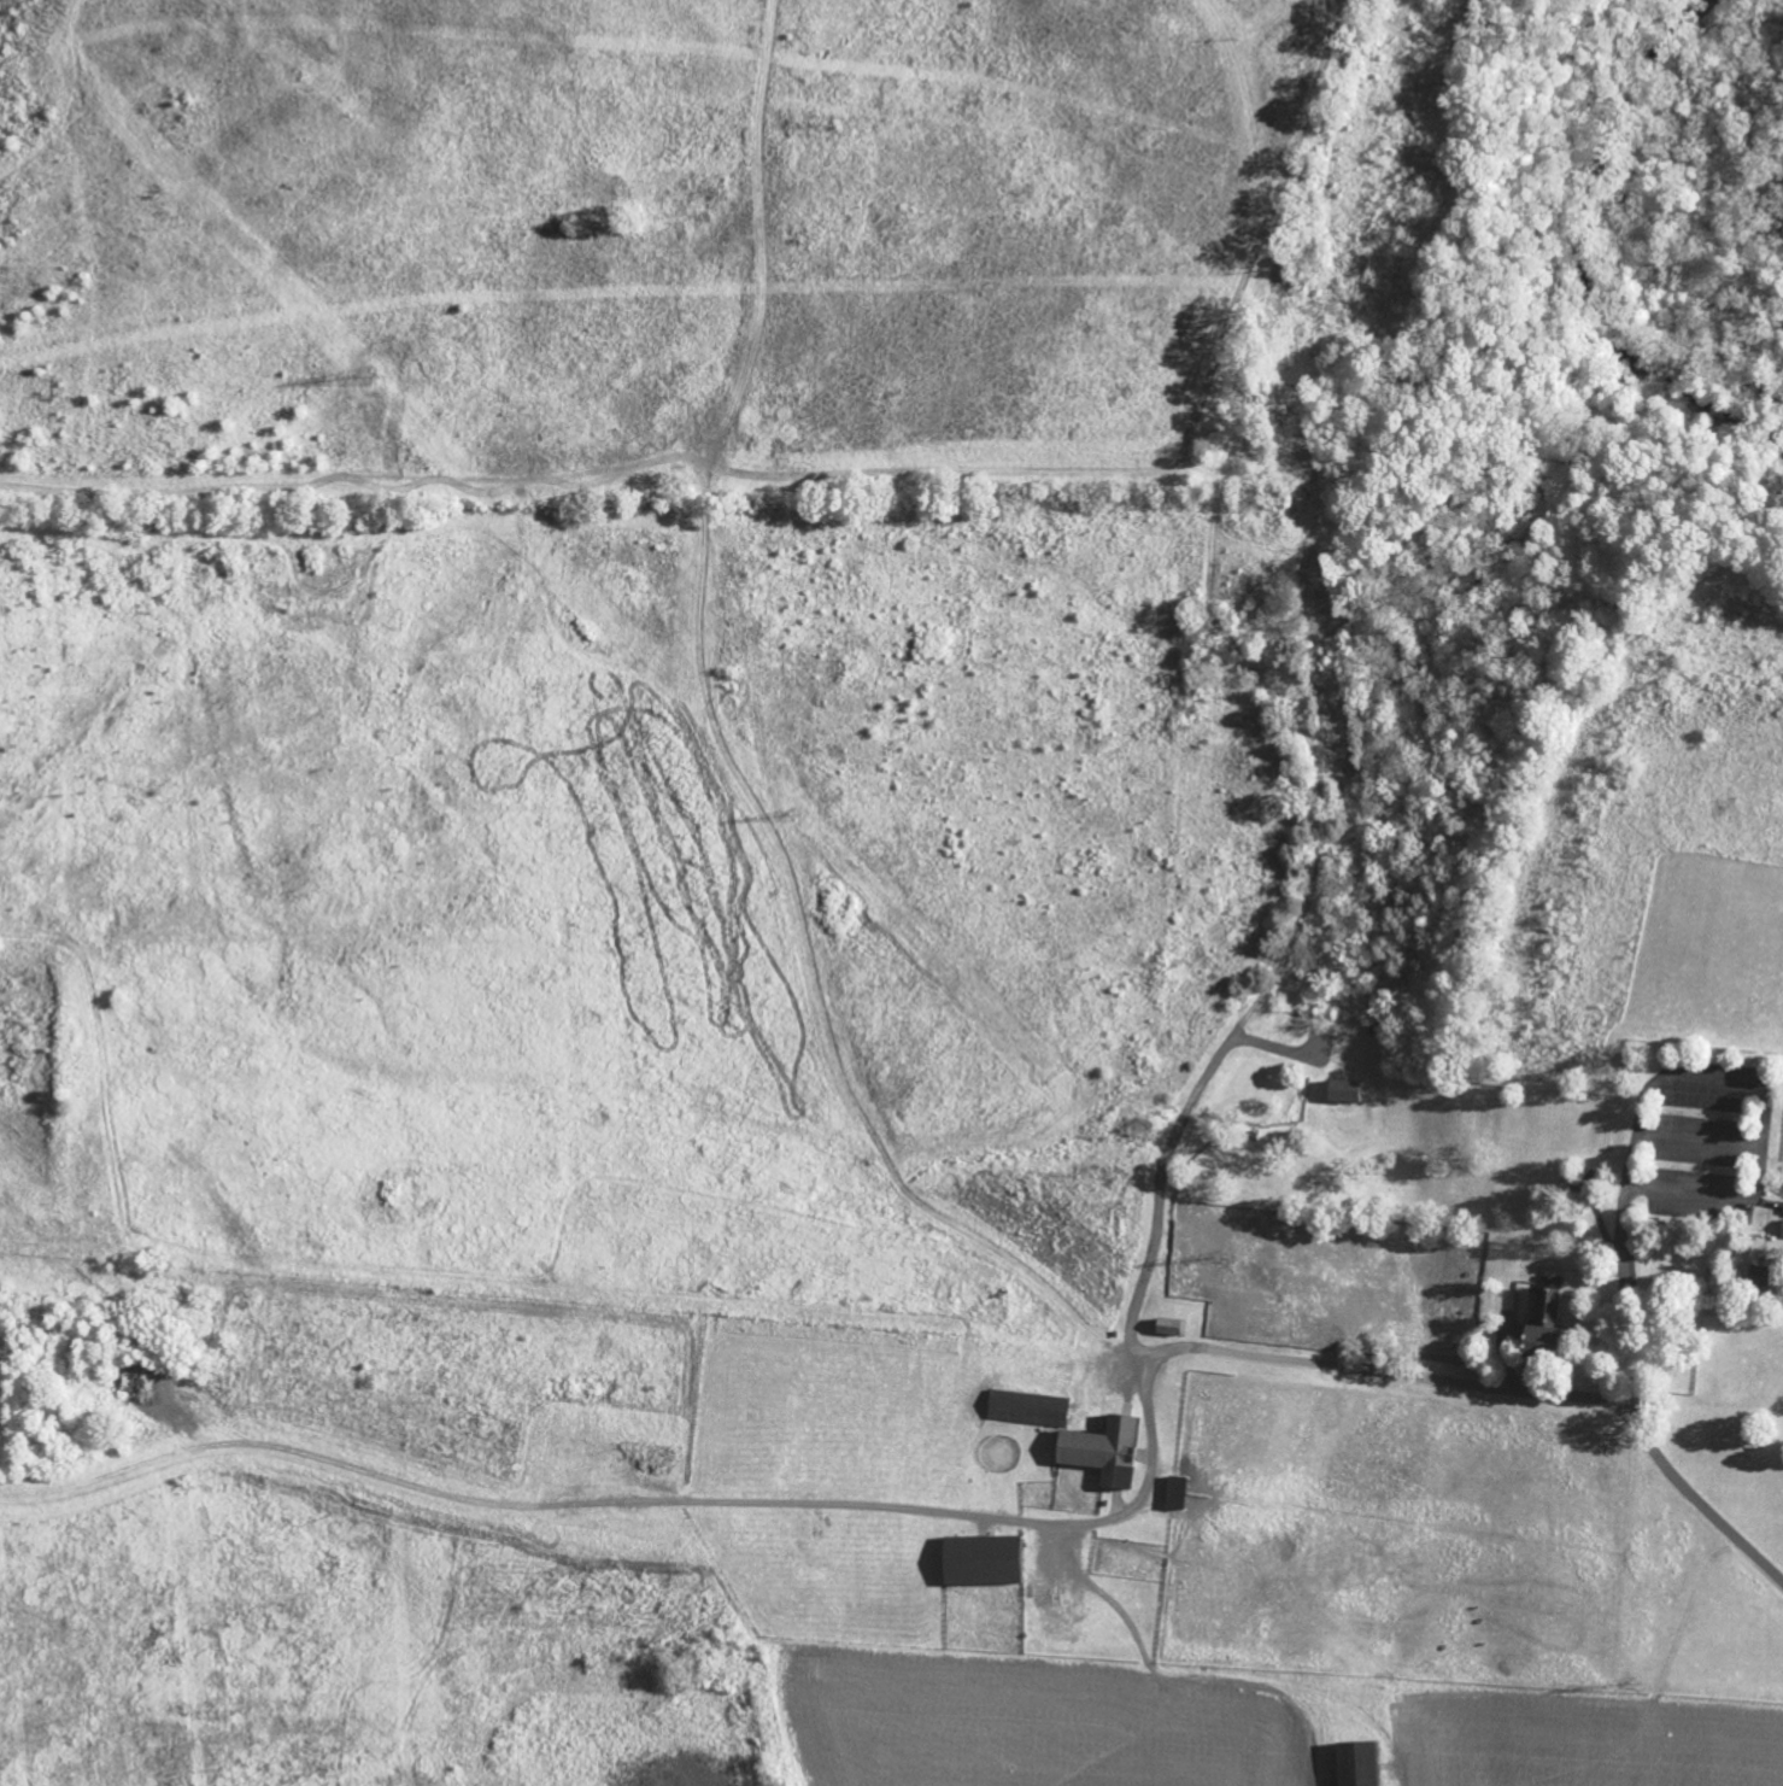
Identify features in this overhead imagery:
road: (1655, 221)
road: (1272, 223)
road: (1439, 345)
power tower: (369, 375)
road: (974, 467)
road: (354, 485)
road: (1208, 549)
road: (1514, 738)
power tower: (794, 814)
road: (1315, 820)
road: (1765, 1050)
building: (1339, 1099)
parking lot: (1711, 1138)
road: (1160, 1169)
road: (1625, 1191)
power tower: (1222, 1257)
building: (1764, 1275)
building: (1547, 1318)
building: (1172, 1325)
road: (1383, 1370)
building: (1030, 1410)
building: (1105, 1452)
parking lot: (858, 1464)
road: (1699, 1498)
road: (999, 1516)
building: (985, 1562)
power tower: (1634, 1680)
building: (1361, 1763)

